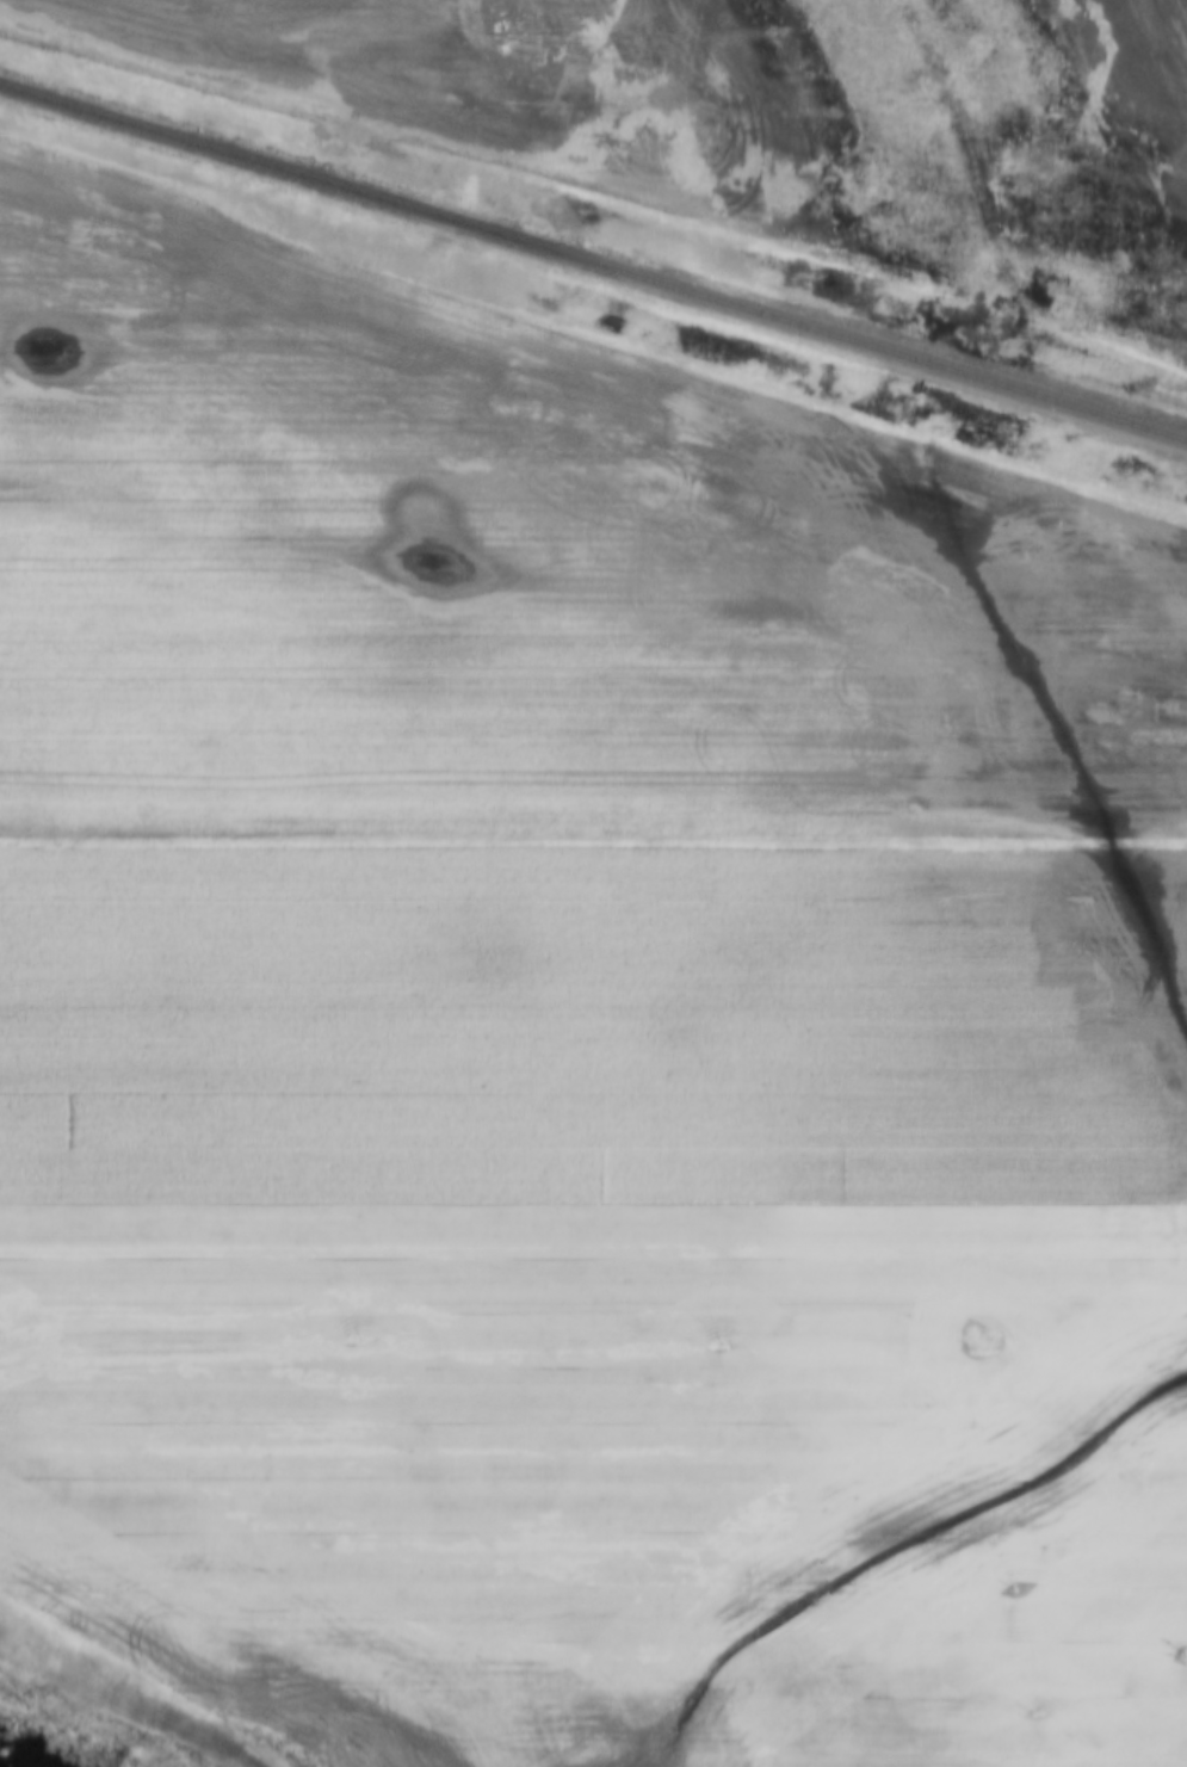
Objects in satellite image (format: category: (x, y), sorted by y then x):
railway: (593, 265)

